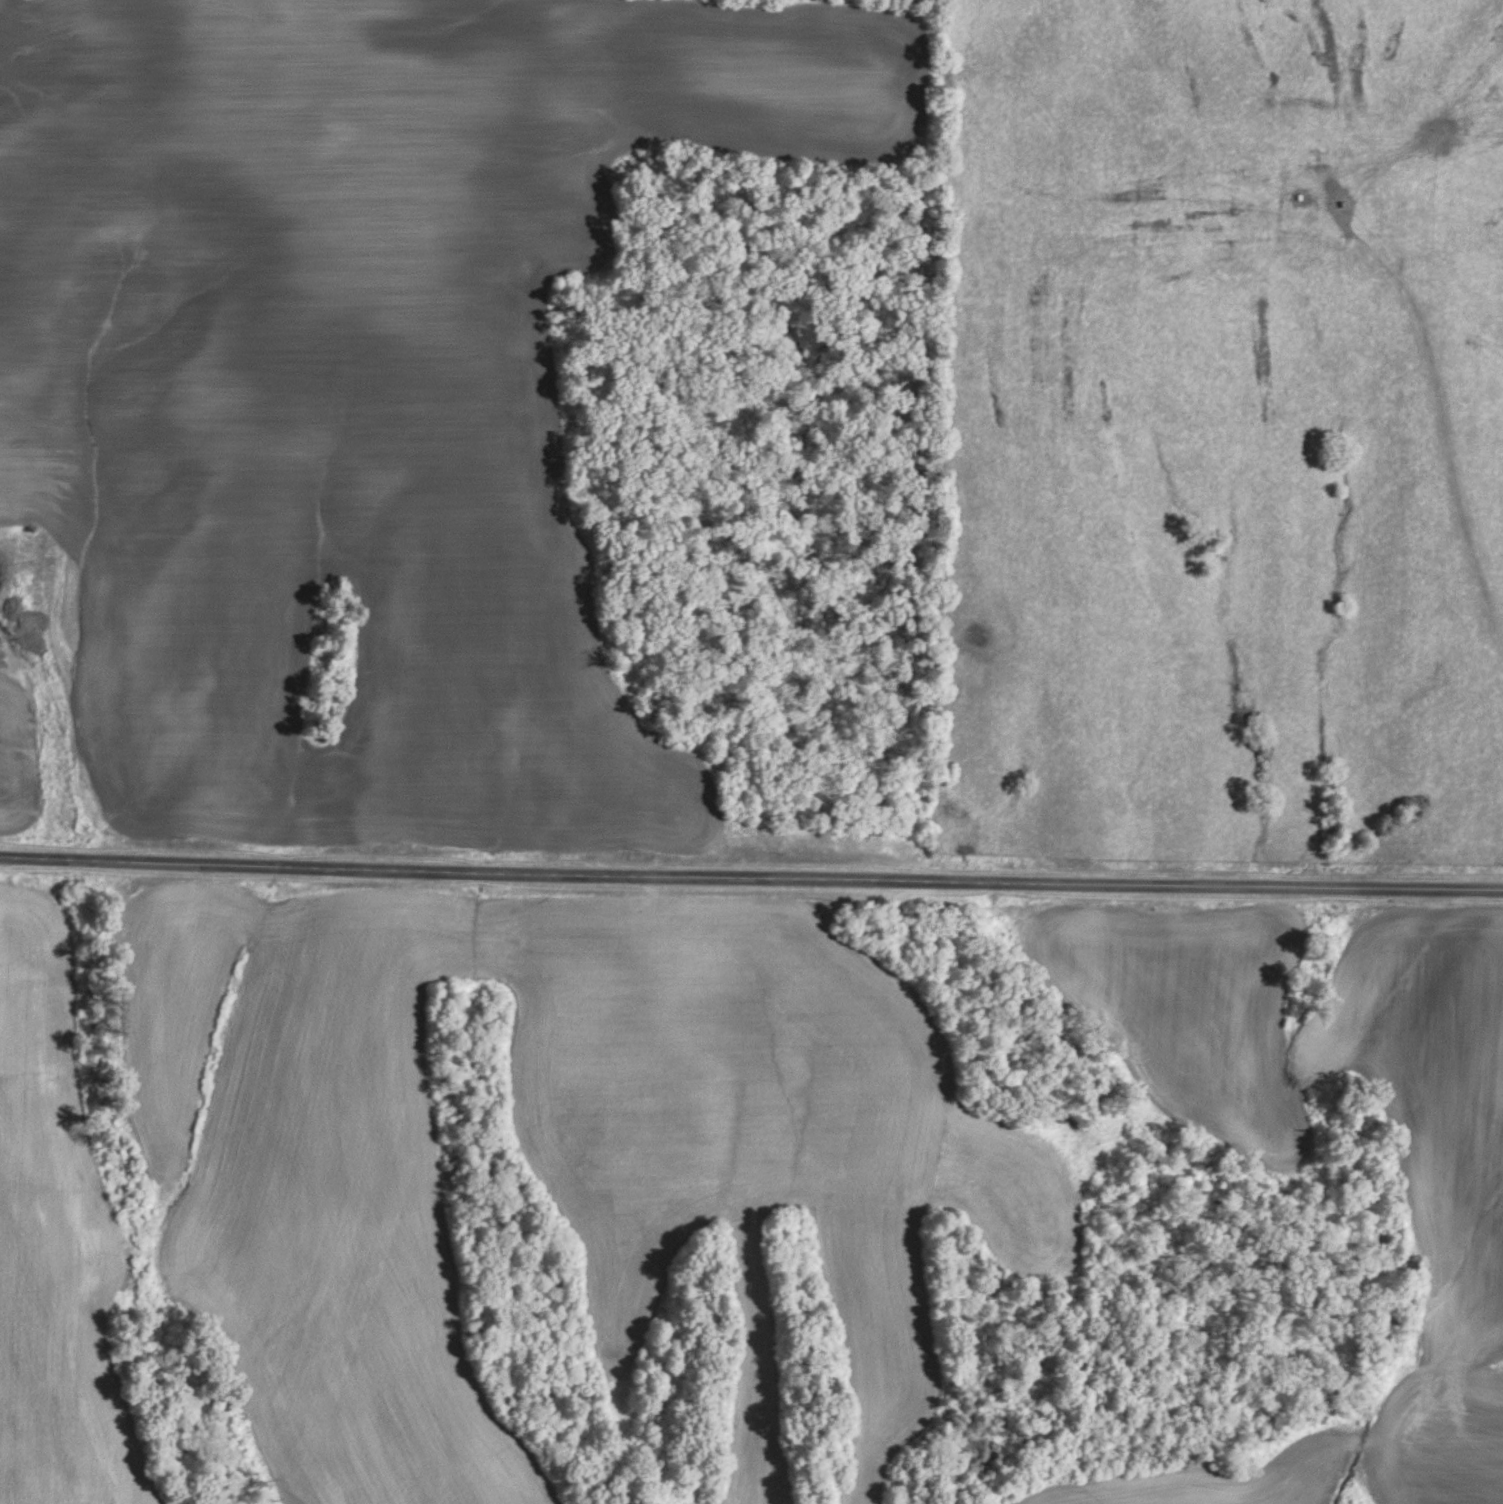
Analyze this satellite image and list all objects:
road: (751, 884)

